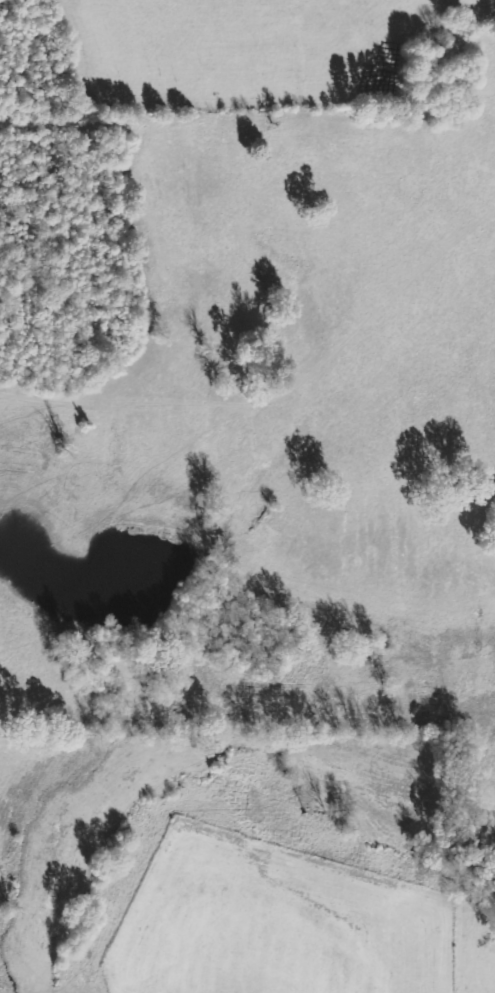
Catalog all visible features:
road: (486, 426)

